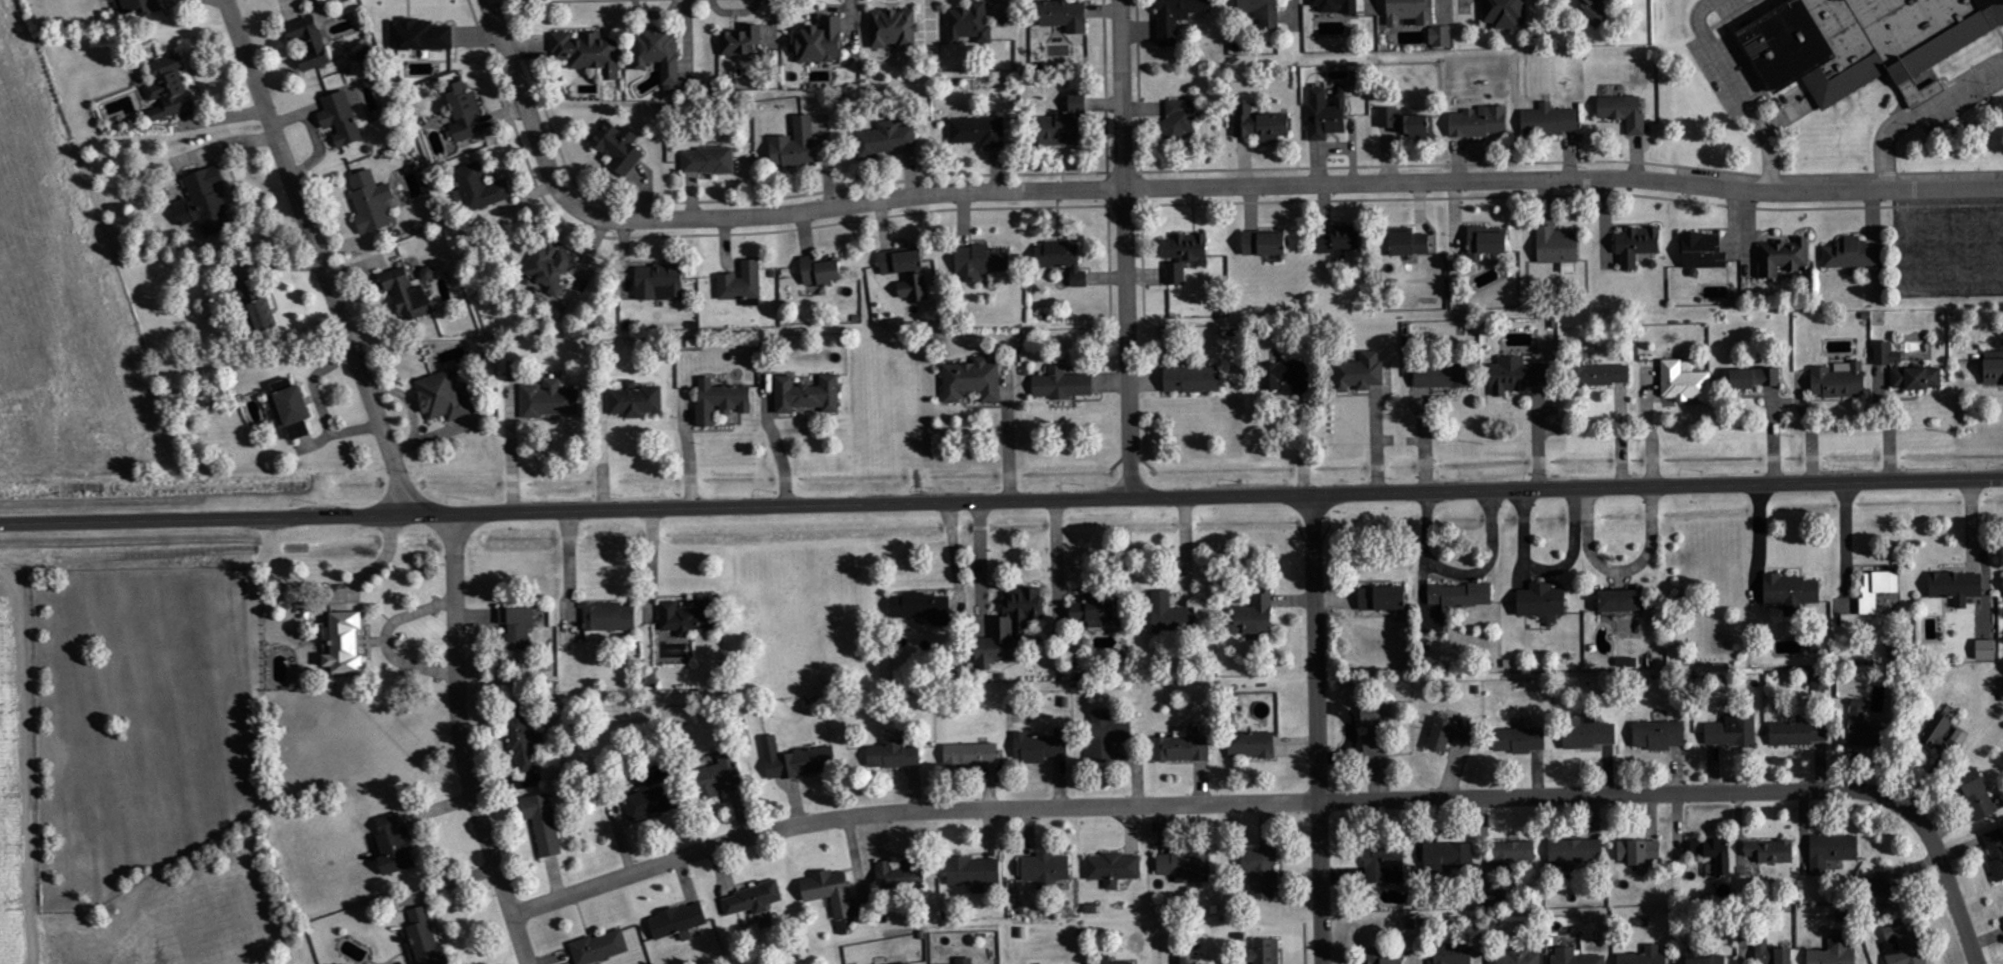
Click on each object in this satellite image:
building: (141, 6)
building: (1337, 6)
building: (1263, 12)
building: (1411, 12)
building: (1594, 12)
building: (1504, 13)
building: (1064, 15)
building: (1177, 17)
building: (970, 24)
building: (894, 29)
building: (419, 35)
building: (1440, 37)
building: (313, 39)
building: (1864, 39)
building: (742, 41)
building: (820, 42)
building: (588, 52)
building: (659, 54)
building: (169, 88)
road: (1922, 106)
building: (1624, 111)
building: (464, 112)
building: (1325, 115)
building: (1182, 117)
building: (1389, 117)
building: (340, 119)
building: (1549, 121)
building: (1480, 122)
building: (1064, 124)
building: (1259, 124)
building: (978, 131)
building: (886, 140)
building: (795, 145)
building: (618, 147)
building: (708, 161)
road: (1175, 184)
building: (480, 188)
building: (370, 201)
building: (205, 202)
building: (1340, 241)
building: (1410, 243)
building: (1486, 243)
building: (1265, 244)
building: (1637, 245)
road: (1127, 246)
building: (1558, 247)
building: (1186, 248)
building: (1703, 251)
building: (1852, 254)
road: (320, 255)
building: (1783, 257)
building: (1063, 260)
building: (981, 261)
building: (902, 262)
building: (820, 272)
building: (1176, 274)
building: (659, 282)
building: (742, 284)
building: (914, 288)
building: (407, 295)
building: (258, 306)
building: (1994, 368)
building: (1906, 370)
building: (513, 371)
building: (1359, 372)
building: (1518, 375)
building: (1603, 375)
building: (1287, 376)
building: (1442, 376)
building: (1756, 378)
building: (972, 380)
building: (1193, 380)
building: (1839, 380)
building: (1683, 383)
building: (1062, 384)
building: (807, 395)
building: (441, 398)
building: (549, 399)
building: (635, 401)
building: (720, 401)
road: (1001, 497)
road: (1849, 541)
road: (1758, 560)
building: (1957, 587)
building: (1878, 590)
building: (1792, 593)
building: (1461, 595)
building: (1383, 599)
building: (1621, 601)
building: (1542, 602)
building: (923, 607)
building: (1095, 612)
building: (1171, 615)
building: (1255, 615)
building: (609, 617)
building: (687, 617)
building: (518, 627)
building: (1011, 628)
building: (344, 645)
building: (1986, 650)
road: (1321, 726)
building: (1376, 727)
building: (1865, 729)
building: (1936, 730)
building: (1733, 731)
building: (1453, 733)
building: (1588, 733)
building: (1800, 734)
building: (1660, 735)
building: (1107, 737)
building: (1520, 740)
road: (461, 741)
building: (522, 742)
building: (1252, 746)
building: (1041, 747)
building: (1182, 748)
building: (893, 755)
building: (971, 755)
building: (796, 760)
building: (720, 776)
building: (1978, 796)
road: (1292, 797)
building: (650, 803)
building: (542, 824)
building: (394, 846)
building: (1997, 847)
building: (1639, 852)
building: (1771, 852)
building: (1832, 852)
building: (1576, 853)
building: (1715, 853)
building: (1515, 854)
building: (1449, 857)
building: (1385, 864)
building: (1184, 865)
building: (1113, 869)
building: (1045, 871)
building: (1712, 871)
building: (1261, 872)
building: (974, 873)
building: (901, 874)
building: (830, 892)
building: (1881, 893)
building: (1495, 898)
building: (752, 900)
building: (678, 922)
building: (425, 939)
building: (1904, 944)
building: (600, 948)
building: (1267, 951)
building: (1835, 953)
building: (1450, 954)
building: (1774, 954)
building: (1645, 956)
building: (1382, 957)
building: (1576, 957)
building: (1703, 957)
building: (965, 960)
building: (1105, 960)
building: (1182, 960)
building: (905, 963)

